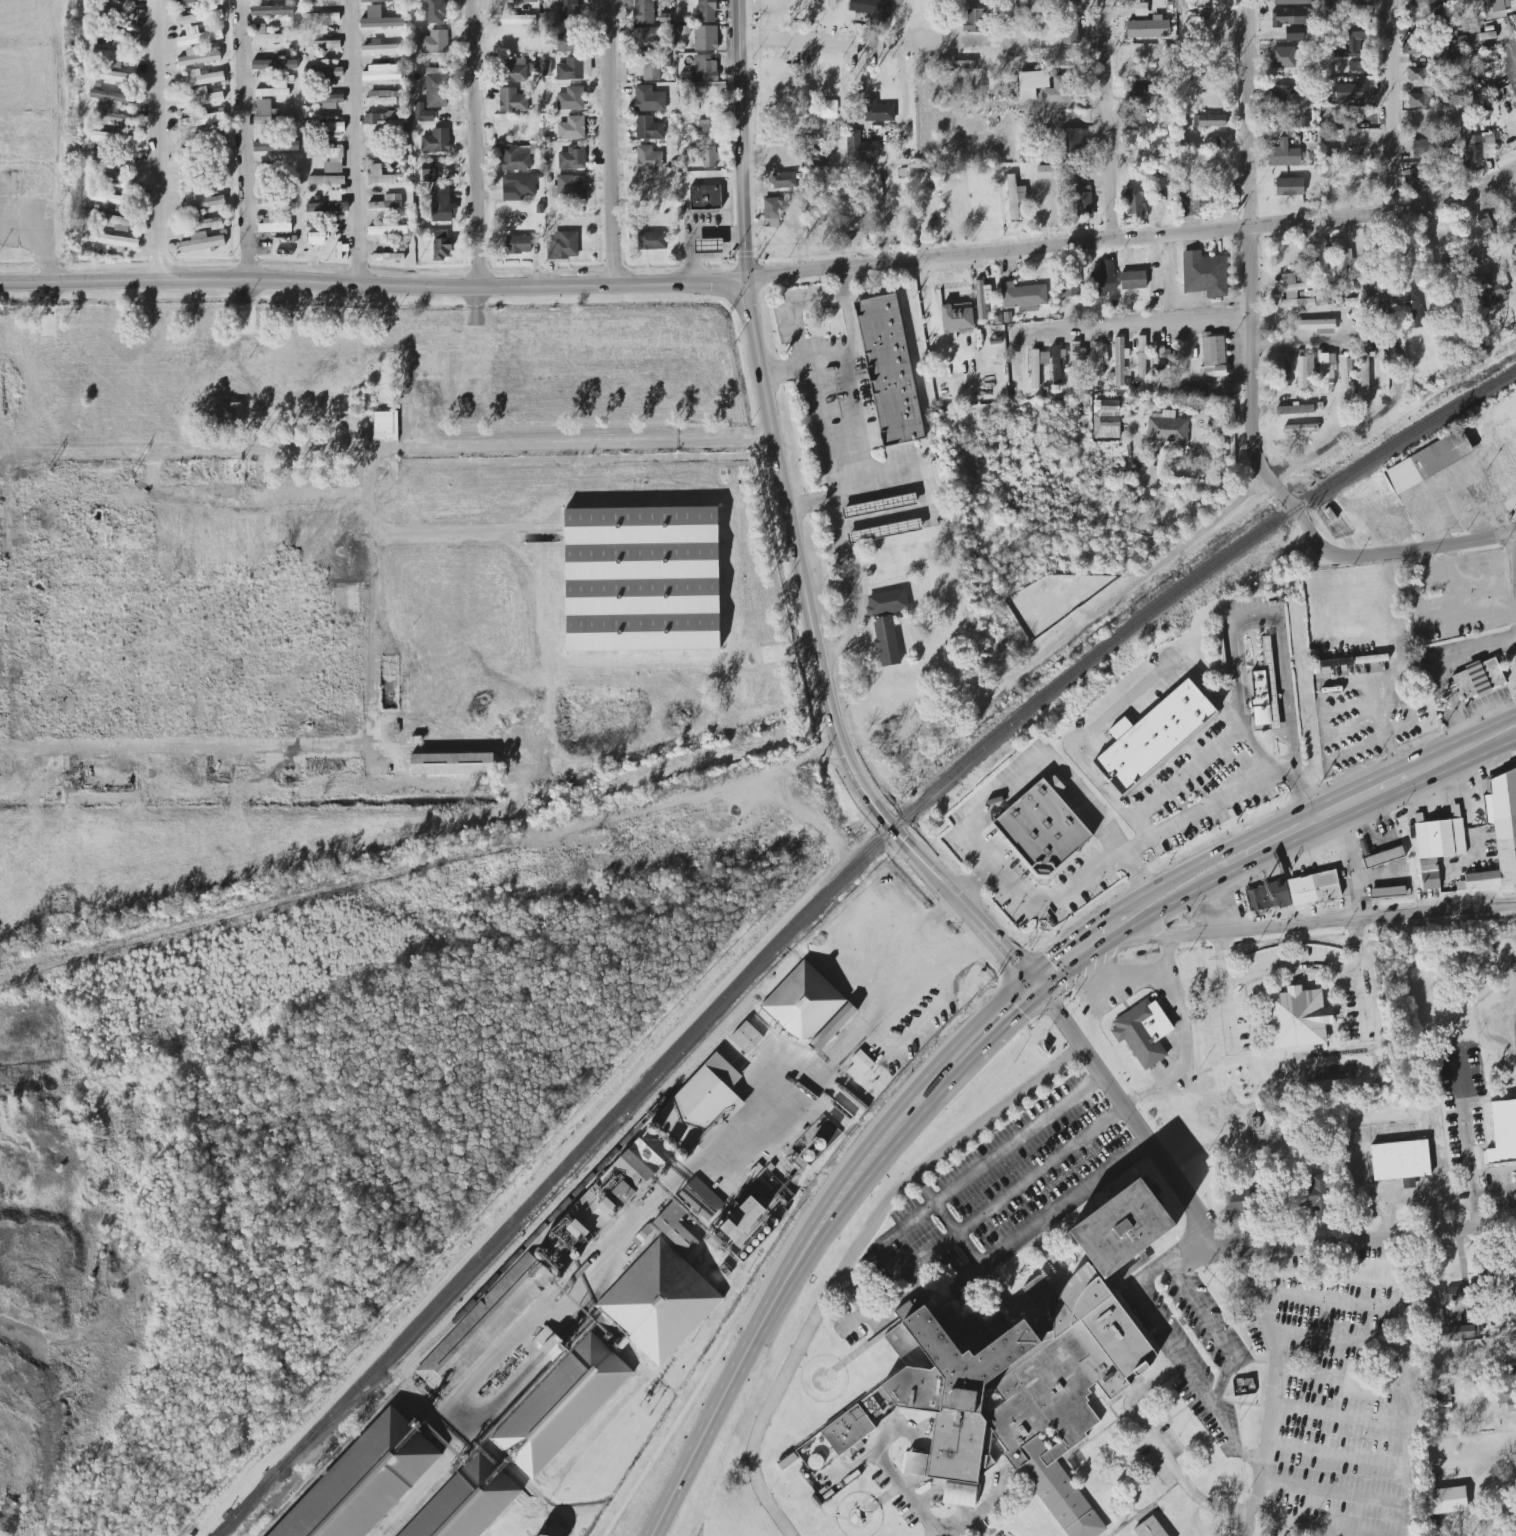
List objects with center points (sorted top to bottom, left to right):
building: (131, 0)
building: (325, 0)
building: (1354, 0)
building: (375, 1)
building: (524, 1)
building: (188, 2)
building: (1292, 2)
building: (1426, 2)
building: (1201, 4)
building: (567, 8)
building: (1495, 8)
building: (872, 9)
building: (1140, 9)
building: (641, 10)
building: (271, 11)
building: (435, 11)
building: (706, 11)
building: (199, 17)
building: (1288, 17)
building: (322, 18)
building: (120, 19)
building: (379, 19)
building: (513, 19)
building: (973, 21)
building: (1148, 28)
building: (1071, 31)
building: (1294, 34)
building: (267, 36)
building: (1477, 36)
building: (705, 38)
building: (200, 39)
building: (647, 40)
road: (830, 40)
building: (570, 41)
building: (1353, 42)
building: (434, 43)
building: (326, 45)
building: (378, 48)
building: (112, 57)
building: (198, 57)
building: (1282, 57)
building: (1442, 57)
road: (1514, 58)
building: (666, 60)
building: (1471, 60)
building: (274, 64)
building: (957, 65)
building: (1357, 66)
building: (534, 67)
building: (573, 69)
building: (705, 69)
building: (515, 70)
building: (651, 71)
building: (323, 72)
building: (381, 73)
building: (1417, 74)
building: (687, 76)
building: (117, 77)
building: (200, 79)
building: (277, 87)
building: (1046, 87)
building: (436, 88)
building: (1137, 89)
building: (1284, 93)
building: (1349, 93)
building: (198, 97)
building: (113, 98)
building: (382, 98)
building: (571, 99)
building: (326, 100)
building: (648, 100)
building: (1419, 100)
building: (512, 101)
road: (1391, 108)
building: (827, 109)
building: (878, 111)
building: (265, 113)
building: (423, 113)
building: (395, 115)
building: (116, 118)
building: (1359, 118)
building: (201, 120)
building: (1209, 120)
road: (1104, 121)
building: (380, 124)
building: (324, 126)
building: (571, 128)
building: (648, 129)
building: (706, 129)
road: (875, 130)
building: (113, 138)
road: (160, 140)
road: (247, 140)
road: (741, 140)
building: (1223, 140)
road: (356, 142)
building: (436, 142)
road: (606, 142)
road: (472, 144)
building: (275, 146)
building: (1430, 146)
building: (1480, 147)
building: (860, 148)
building: (1283, 155)
building: (709, 157)
building: (515, 158)
building: (572, 158)
building: (648, 158)
building: (328, 159)
building: (814, 159)
building: (190, 164)
building: (429, 172)
building: (1044, 172)
building: (378, 175)
building: (1419, 176)
building: (119, 180)
building: (326, 180)
building: (783, 180)
building: (518, 187)
building: (570, 187)
building: (1289, 187)
building: (704, 197)
building: (1014, 197)
building: (1195, 199)
building: (113, 200)
building: (1136, 200)
building: (1084, 201)
building: (201, 202)
building: (387, 202)
building: (441, 205)
building: (327, 207)
building: (772, 212)
building: (205, 221)
building: (120, 223)
building: (274, 224)
building: (1485, 226)
building: (387, 230)
road: (694, 230)
building: (316, 239)
building: (115, 241)
building: (652, 241)
road: (1134, 241)
building: (201, 242)
building: (441, 245)
building: (518, 245)
gas station: (707, 245)
building: (563, 246)
building: (708, 246)
road: (715, 256)
building: (388, 257)
building: (1341, 257)
road: (1247, 262)
road: (1166, 268)
building: (1204, 274)
building: (1103, 279)
building: (1133, 280)
road: (373, 285)
building: (1289, 291)
building: (1489, 291)
building: (1023, 297)
building: (982, 298)
road: (933, 310)
building: (1412, 315)
building: (957, 318)
road: (1141, 322)
park: (824, 323)
building: (1316, 326)
road: (1321, 341)
road: (848, 352)
building: (1213, 354)
building: (1141, 356)
building: (1044, 358)
building: (1099, 359)
building: (1163, 359)
building: (1077, 361)
building: (1119, 362)
building: (1056, 365)
building: (1363, 367)
building: (1034, 369)
building: (890, 370)
building: (1344, 370)
building: (1304, 371)
building: (1325, 371)
building: (1280, 373)
building: (1294, 410)
building: (224, 414)
building: (1106, 419)
building: (385, 426)
building: (1167, 428)
building: (1300, 429)
road: (409, 447)
building: (1427, 461)
road: (866, 463)
road: (456, 533)
road: (1515, 544)
road: (1177, 550)
road: (1393, 551)
building: (641, 579)
road: (845, 579)
road: (370, 591)
building: (887, 603)
road: (808, 612)
road: (1276, 632)
building: (886, 642)
road: (1483, 643)
building: (1219, 654)
building: (1330, 665)
building: (1475, 679)
building: (1265, 690)
road: (1440, 695)
road: (1114, 712)
building: (1149, 738)
road: (1263, 756)
building: (455, 764)
road: (1187, 772)
road: (1415, 785)
road: (1299, 796)
road: (1329, 801)
road: (1310, 822)
building: (1040, 829)
building: (1498, 831)
building: (1436, 845)
road: (1270, 853)
building: (1383, 857)
road: (996, 870)
road: (972, 883)
building: (1299, 886)
building: (1387, 892)
railway: (818, 899)
road: (1323, 926)
road: (1128, 931)
road: (1082, 934)
road: (996, 948)
road: (1293, 964)
road: (894, 986)
traffic signals: (1034, 990)
building: (801, 1003)
building: (1297, 1017)
building: (829, 1028)
building: (1143, 1031)
road: (985, 1034)
building: (749, 1038)
road: (1183, 1041)
building: (861, 1067)
building: (701, 1101)
road: (1126, 1113)
building: (1502, 1132)
building: (815, 1134)
road: (1142, 1143)
building: (805, 1153)
building: (1399, 1159)
road: (1470, 1172)
road: (658, 1186)
building: (614, 1192)
road: (1410, 1192)
parking lot: (1004, 1194)
building: (1312, 1194)
building: (1237, 1201)
road: (1059, 1206)
building: (730, 1211)
road: (1474, 1211)
road: (949, 1222)
road: (1363, 1237)
road: (1171, 1258)
road: (852, 1259)
road: (889, 1262)
road: (1245, 1274)
building: (1463, 1291)
road: (775, 1296)
building: (657, 1303)
road: (1329, 1304)
building: (482, 1325)
building: (1471, 1330)
road: (1339, 1341)
building: (1021, 1370)
road: (1272, 1375)
road: (1337, 1377)
helipad: (822, 1379)
road: (1216, 1389)
building: (1510, 1399)
building: (558, 1406)
parking lot: (1328, 1407)
road: (1338, 1416)
road: (1154, 1443)
road: (1334, 1453)
road: (1250, 1457)
building: (361, 1482)
road: (898, 1483)
road: (1332, 1491)
road: (1475, 1491)
building: (1448, 1500)
building: (464, 1503)
helipad: (857, 1516)
road: (963, 1523)
road: (1243, 1525)
road: (1304, 1527)
building: (1150, 1528)
building: (556, 1530)
parking lot: (994, 1530)

